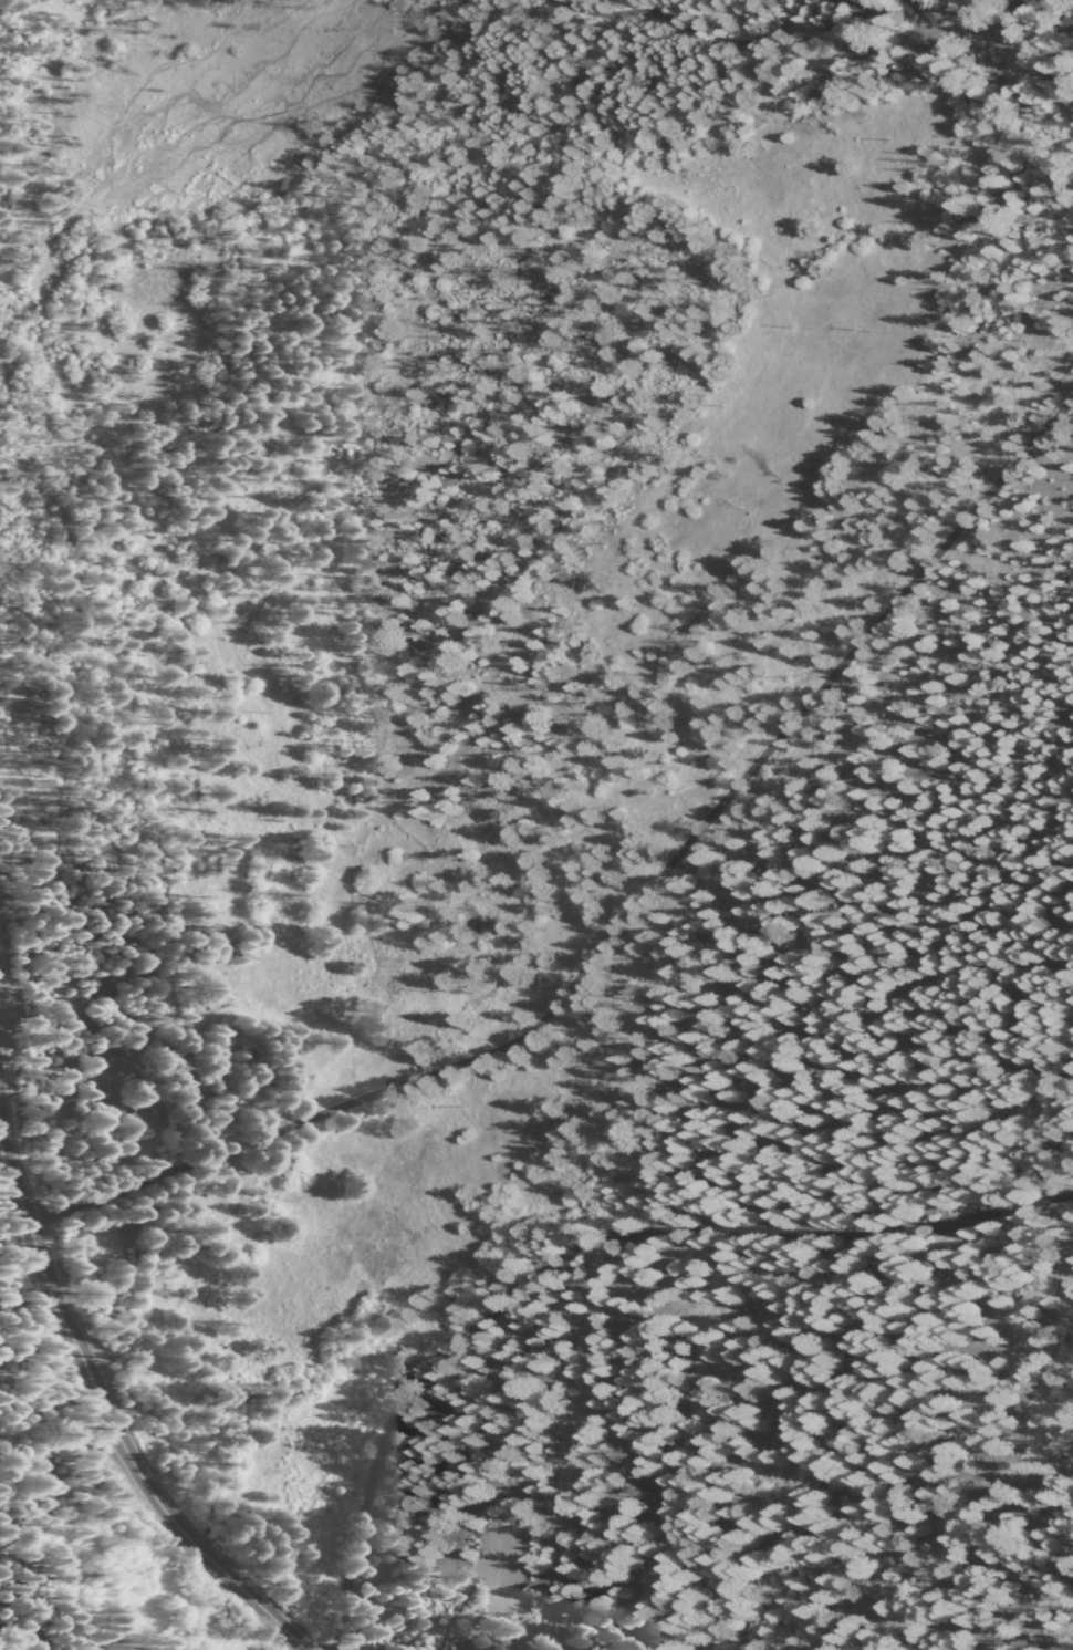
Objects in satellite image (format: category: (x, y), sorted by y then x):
road: (921, 11)
road: (684, 19)
road: (975, 51)
road: (1042, 61)
road: (626, 911)
road: (579, 1244)
road: (106, 1401)
park: (506, 1568)
road: (118, 1574)
building: (445, 1647)
building: (450, 1648)
building: (471, 1648)
building: (462, 1649)

